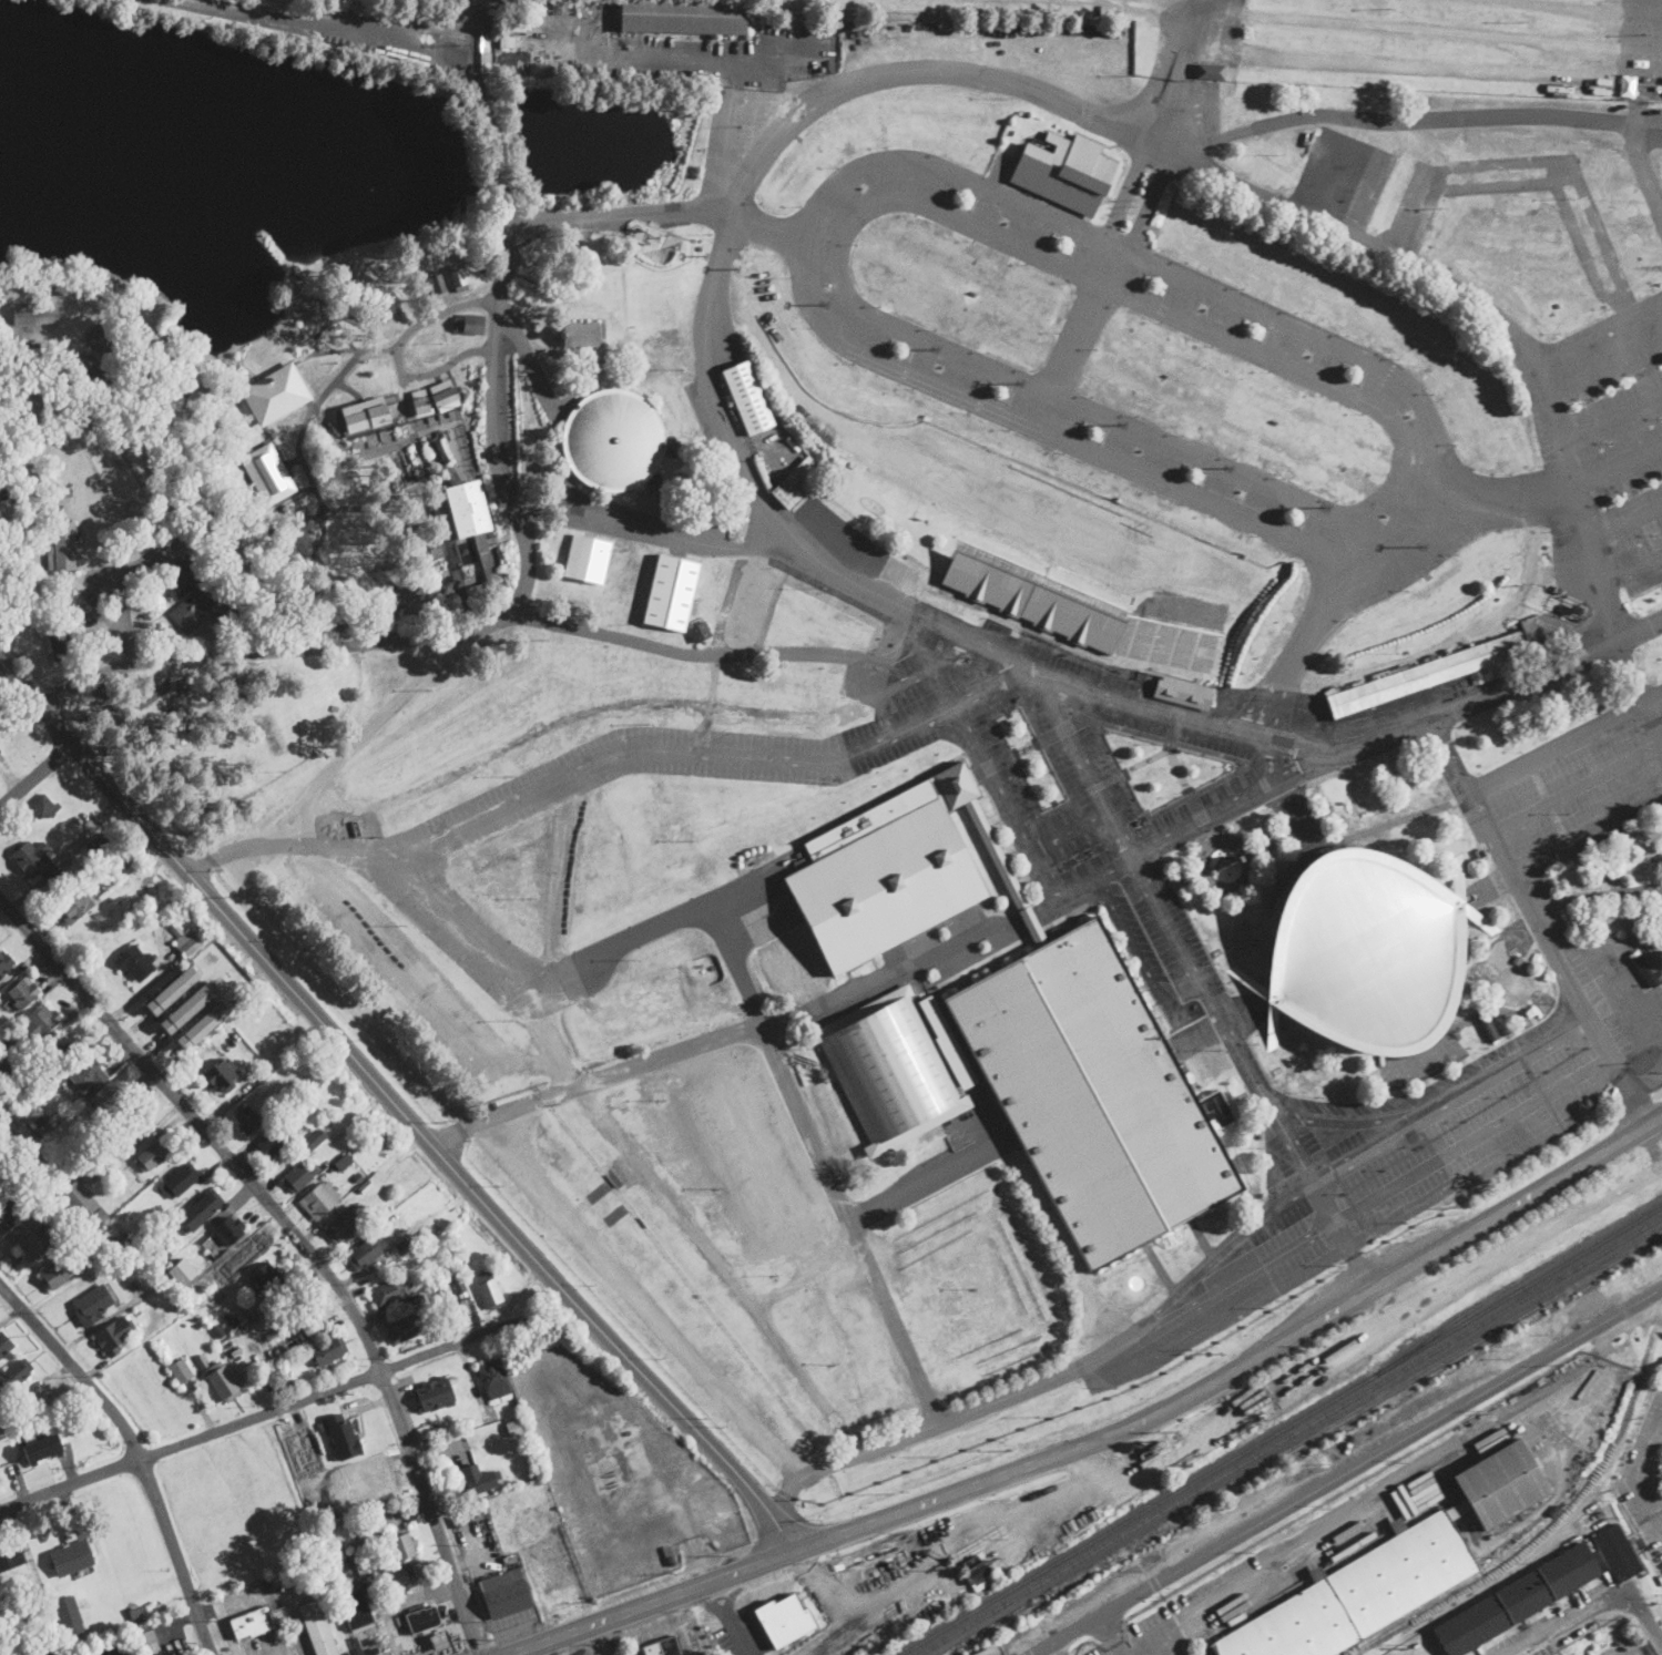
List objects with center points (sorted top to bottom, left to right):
road: (1132, 3)
parking lot: (1018, 6)
road: (1567, 8)
building: (684, 16)
road: (1648, 16)
road: (356, 22)
road: (1196, 22)
road: (1417, 27)
road: (1646, 40)
building: (506, 42)
parking lot: (1438, 42)
parking lot: (1640, 50)
road: (1630, 54)
road: (701, 59)
road: (1409, 61)
building: (1207, 71)
road: (1634, 105)
building: (1644, 112)
road: (1441, 116)
road: (1648, 134)
road: (730, 135)
road: (1160, 145)
building: (1060, 168)
building: (471, 205)
road: (620, 215)
road: (728, 215)
road: (809, 218)
road: (1359, 233)
road: (842, 235)
aerialway pylon: (659, 238)
building: (930, 246)
building: (528, 253)
road: (1134, 254)
aerialway pylon: (704, 257)
aerialway pylon: (736, 269)
building: (457, 278)
building: (435, 286)
building: (657, 299)
building: (590, 302)
road: (1660, 303)
building: (299, 304)
building: (385, 304)
aerialway pylon: (824, 305)
building: (34, 313)
road: (298, 318)
building: (470, 323)
building: (580, 334)
building: (659, 337)
building: (103, 338)
road: (1075, 338)
road: (153, 340)
road: (254, 344)
road: (392, 347)
building: (31, 349)
aerialway pylon: (935, 349)
road: (1537, 355)
road: (526, 359)
road: (1605, 360)
road: (1275, 364)
road: (346, 367)
building: (102, 381)
aerialway pylon: (1019, 384)
building: (273, 394)
building: (180, 395)
building: (441, 397)
building: (747, 398)
building: (419, 400)
road: (1069, 402)
building: (363, 413)
building: (1461, 415)
road: (1613, 415)
aerialway pylon: (1121, 425)
building: (620, 443)
building: (1546, 450)
building: (438, 451)
road: (1225, 464)
road: (1621, 466)
aerialway pylon: (1227, 468)
building: (1347, 468)
building: (116, 473)
building: (267, 473)
building: (451, 476)
building: (795, 487)
road: (1408, 491)
road: (1496, 501)
building: (62, 502)
building: (142, 504)
aerialway pylon: (1325, 507)
building: (462, 510)
building: (241, 517)
road: (1625, 523)
road: (646, 527)
building: (65, 544)
aerialway pylon: (1421, 545)
building: (494, 553)
building: (587, 559)
road: (1595, 562)
building: (487, 563)
building: (420, 564)
road: (104, 565)
road: (527, 565)
road: (1632, 571)
building: (385, 580)
building: (344, 581)
aerialway pylon: (1516, 583)
building: (671, 593)
building: (201, 596)
building: (52, 599)
building: (799, 611)
building: (1080, 613)
building: (992, 625)
building: (700, 632)
building: (61, 633)
road: (1452, 638)
road: (1297, 652)
road: (724, 653)
road: (1546, 672)
road: (1628, 672)
road: (916, 674)
building: (1427, 674)
road: (1007, 677)
building: (1183, 692)
building: (898, 698)
building: (182, 706)
building: (1308, 709)
road: (573, 715)
road: (883, 715)
road: (383, 717)
road: (1192, 719)
road: (1377, 742)
road: (1563, 742)
building: (0, 750)
road: (1272, 762)
road: (35, 776)
road: (568, 776)
building: (44, 807)
building: (1330, 816)
road: (295, 824)
road: (1071, 831)
building: (96, 841)
building: (985, 841)
building: (1479, 851)
building: (37, 860)
building: (385, 872)
building: (878, 875)
road: (1094, 876)
building: (1457, 878)
building: (365, 883)
road: (1528, 906)
building: (74, 907)
building: (1478, 920)
building: (1625, 922)
building: (185, 940)
building: (1365, 952)
road: (1183, 954)
road: (1139, 959)
building: (1518, 959)
building: (783, 961)
building: (4, 962)
building: (136, 962)
road: (424, 971)
building: (1607, 974)
building: (1251, 980)
road: (748, 984)
building: (1513, 985)
building: (174, 988)
building: (23, 991)
building: (186, 1008)
building: (630, 1014)
building: (227, 1015)
building: (41, 1023)
building: (204, 1023)
building: (1272, 1023)
road: (1209, 1028)
building: (1487, 1028)
building: (184, 1031)
building: (1627, 1035)
road: (716, 1038)
building: (12, 1039)
building: (948, 1043)
building: (63, 1049)
building: (305, 1050)
building: (1297, 1061)
building: (4, 1069)
building: (889, 1070)
building: (88, 1074)
building: (220, 1075)
building: (263, 1075)
building: (1574, 1077)
road: (1644, 1077)
building: (1093, 1094)
building: (108, 1096)
road: (1452, 1100)
building: (302, 1106)
road: (1636, 1106)
road: (397, 1109)
building: (6, 1117)
building: (247, 1120)
road: (1352, 1121)
building: (41, 1122)
building: (132, 1124)
building: (21, 1130)
road: (1470, 1134)
road: (1654, 1137)
building: (273, 1143)
building: (307, 1145)
building: (1326, 1147)
building: (154, 1155)
building: (762, 1156)
building: (345, 1161)
road: (1019, 1168)
building: (61, 1175)
building: (115, 1177)
building: (299, 1177)
building: (1409, 1177)
building: (358, 1178)
building: (180, 1181)
building: (370, 1182)
building: (80, 1199)
building: (319, 1199)
building: (204, 1207)
building: (9, 1210)
building: (384, 1210)
building: (99, 1215)
road: (685, 1220)
building: (343, 1226)
building: (137, 1229)
building: (228, 1229)
building: (457, 1230)
building: (421, 1236)
road: (300, 1239)
building: (144, 1242)
building: (38, 1243)
building: (121, 1243)
building: (60, 1245)
building: (404, 1246)
building: (366, 1255)
building: (462, 1256)
road: (1217, 1256)
building: (157, 1264)
building: (205, 1267)
building: (1273, 1267)
building: (171, 1269)
building: (61, 1270)
road: (806, 1271)
road: (1468, 1276)
building: (183, 1277)
building: (267, 1279)
building: (458, 1286)
building: (446, 1287)
parking lot: (1454, 1288)
building: (488, 1290)
road: (1408, 1290)
building: (389, 1291)
road: (643, 1297)
building: (417, 1301)
building: (92, 1305)
building: (177, 1305)
railway: (1474, 1309)
building: (1202, 1315)
building: (233, 1319)
building: (312, 1321)
building: (404, 1329)
building: (220, 1330)
building: (114, 1337)
building: (4, 1345)
building: (329, 1350)
railway: (1448, 1356)
building: (202, 1361)
road: (1094, 1361)
building: (180, 1369)
building: (283, 1373)
building: (14, 1376)
building: (493, 1380)
building: (224, 1381)
building: (946, 1386)
building: (432, 1395)
road: (258, 1418)
building: (322, 1427)
building: (516, 1428)
railway: (1278, 1429)
building: (425, 1431)
building: (461, 1431)
railway: (1288, 1436)
building: (344, 1437)
road: (1105, 1437)
building: (302, 1443)
building: (41, 1449)
road: (135, 1452)
road: (1346, 1472)
road: (1636, 1474)
road: (1122, 1479)
building: (478, 1480)
road: (1102, 1482)
building: (1501, 1484)
building: (492, 1503)
building: (1607, 1506)
railway: (1559, 1515)
road: (977, 1522)
building: (371, 1525)
parking lot: (997, 1534)
building: (402, 1546)
building: (669, 1553)
building: (506, 1554)
building: (1620, 1554)
building: (10, 1555)
building: (71, 1557)
building: (359, 1560)
building: (553, 1564)
building: (419, 1569)
building: (976, 1569)
building: (349, 1579)
building: (392, 1579)
building: (27, 1588)
building: (348, 1591)
road: (873, 1592)
building: (506, 1594)
building: (1357, 1594)
building: (4, 1595)
building: (1517, 1600)
road: (898, 1607)
road: (1595, 1610)
building: (171, 1613)
building: (68, 1615)
building: (278, 1616)
road: (727, 1617)
building: (785, 1617)
building: (422, 1620)
building: (253, 1623)
parking lot: (733, 1625)
building: (317, 1628)
building: (143, 1630)
road: (1112, 1634)
building: (440, 1641)
building: (357, 1645)
building: (664, 1647)
road: (1044, 1652)
building: (41, 1653)
road: (110, 1653)
building: (63, 1654)

